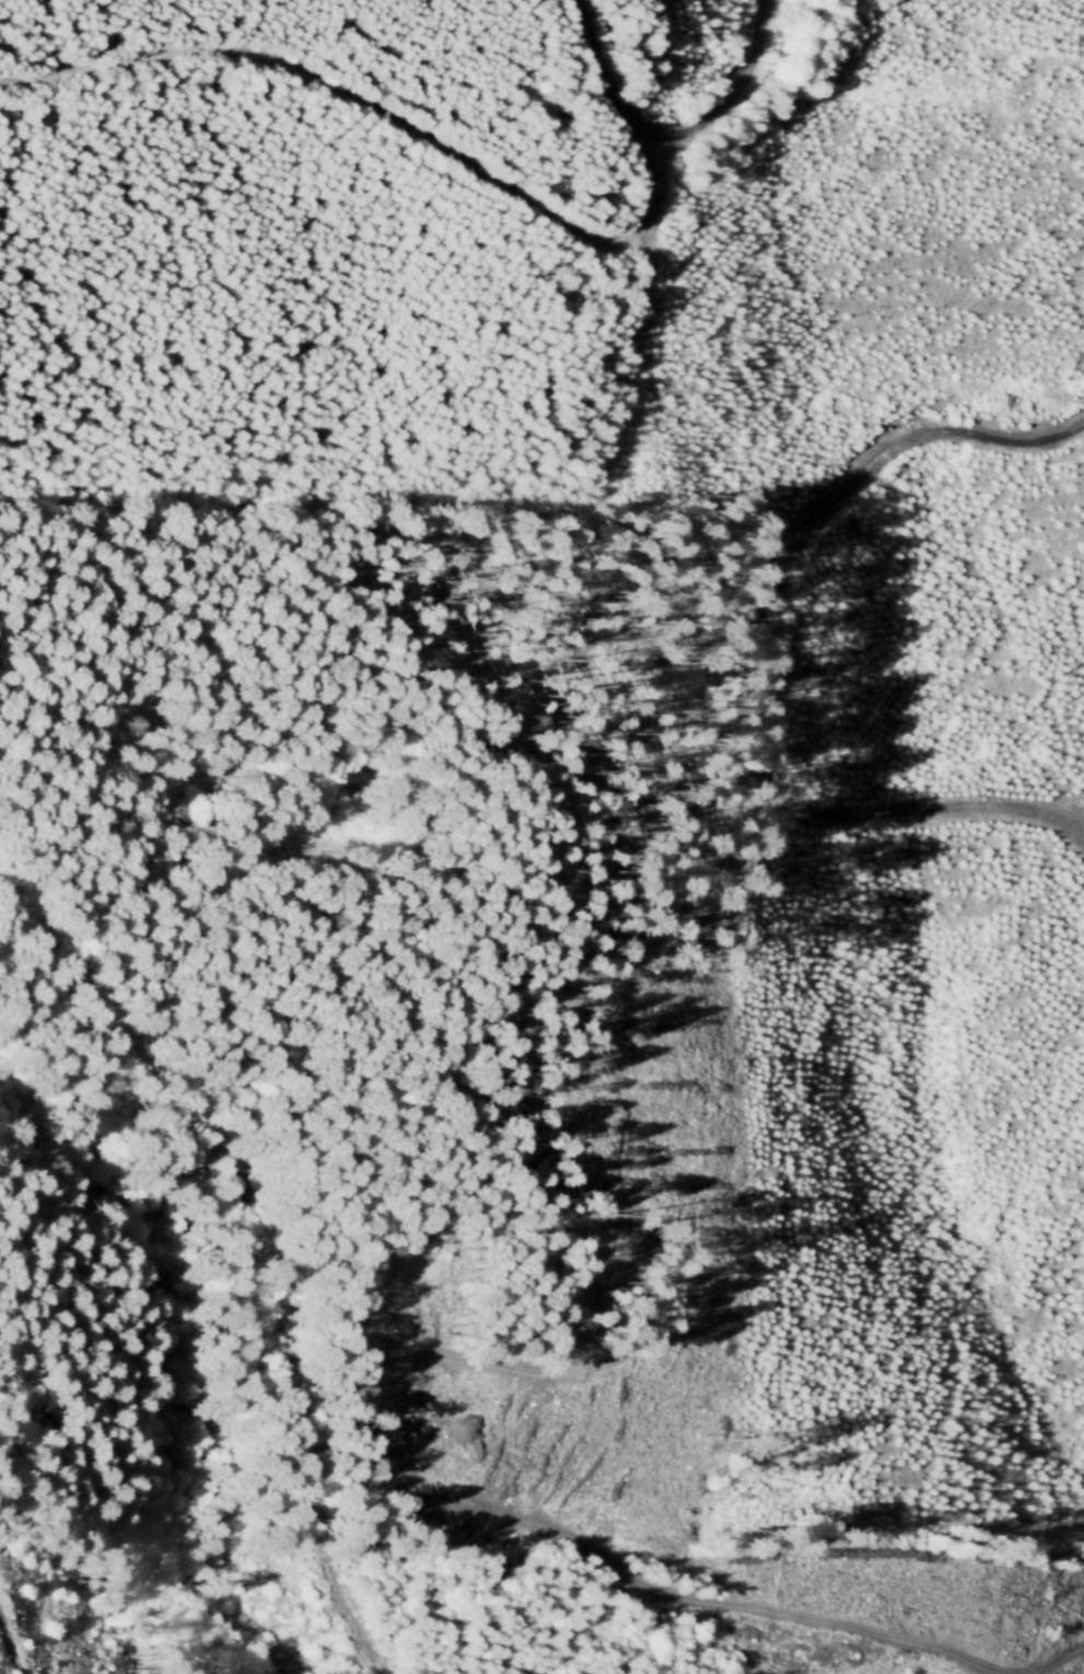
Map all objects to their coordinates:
road: (382, 116)
road: (668, 137)
road: (743, 659)
road: (260, 1242)
road: (11, 1638)

